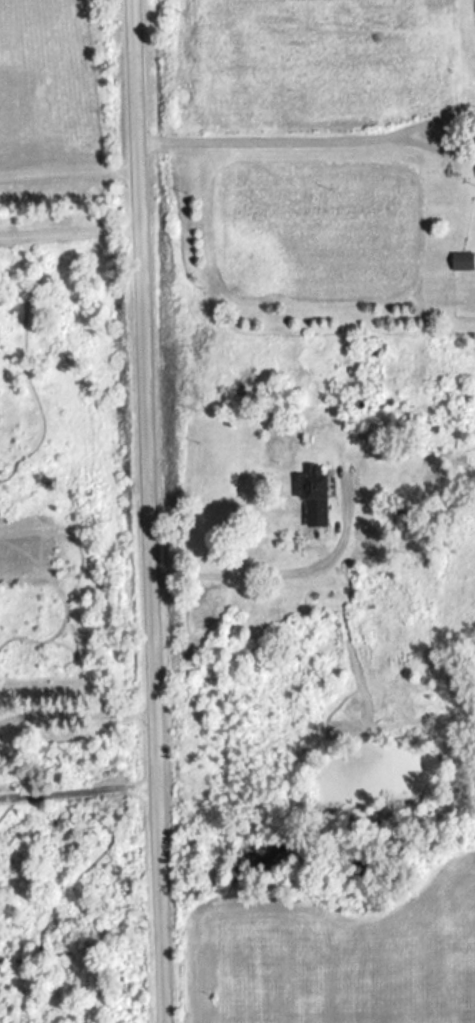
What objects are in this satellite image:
road: (304, 138)
road: (65, 171)
road: (67, 231)
building: (464, 263)
building: (317, 500)
road: (142, 511)
road: (274, 571)
road: (74, 717)
road: (76, 794)

